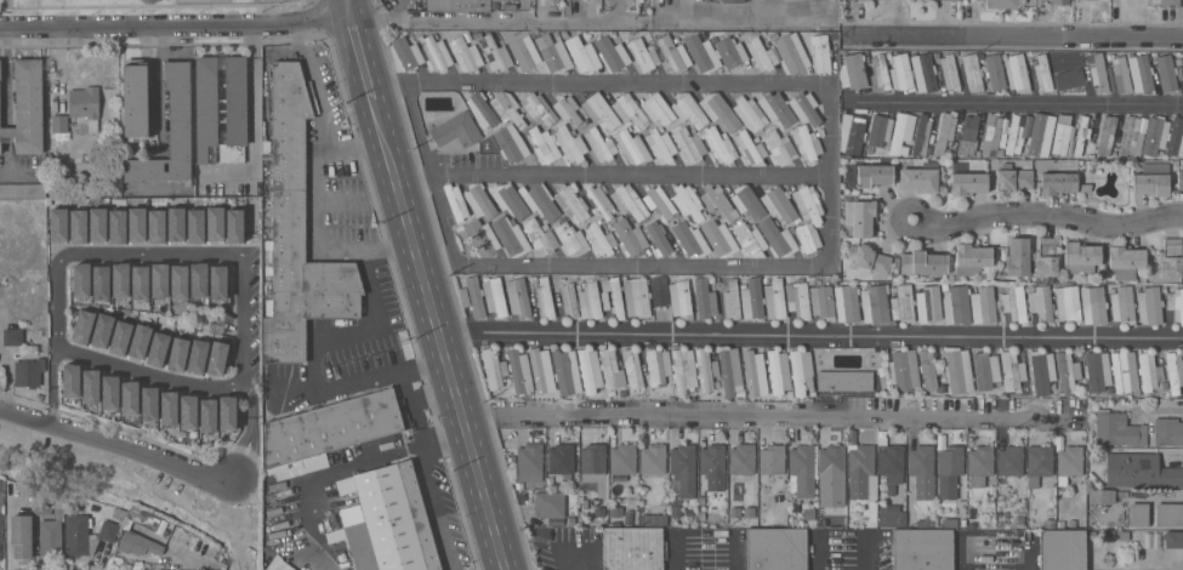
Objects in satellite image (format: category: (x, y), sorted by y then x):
park: (84, 0)
building: (497, 0)
building: (1086, 0)
building: (733, 1)
building: (1059, 2)
building: (1002, 4)
building: (1170, 4)
building: (457, 5)
road: (343, 6)
road: (397, 13)
road: (1014, 36)
road: (356, 49)
building: (791, 52)
building: (820, 52)
building: (437, 53)
building: (495, 53)
building: (525, 53)
building: (553, 53)
building: (612, 53)
building: (672, 53)
building: (732, 53)
building: (404, 55)
building: (465, 55)
building: (584, 55)
building: (643, 55)
building: (703, 55)
building: (761, 55)
building: (1182, 68)
building: (994, 70)
building: (853, 72)
building: (900, 72)
building: (923, 72)
building: (949, 72)
building: (1041, 72)
building: (881, 73)
building: (972, 73)
building: (1016, 73)
building: (1098, 73)
building: (1121, 73)
building: (1139, 73)
building: (1166, 73)
building: (1069, 79)
road: (596, 85)
road: (314, 86)
road: (369, 92)
building: (135, 101)
road: (1018, 102)
building: (84, 103)
building: (25, 108)
building: (510, 108)
building: (538, 108)
building: (569, 108)
building: (777, 108)
building: (804, 108)
building: (220, 109)
building: (482, 110)
building: (599, 110)
building: (630, 110)
building: (661, 110)
building: (689, 110)
building: (718, 110)
building: (749, 113)
road: (377, 120)
road: (255, 122)
building: (59, 127)
building: (456, 130)
building: (878, 131)
building: (170, 132)
building: (945, 132)
building: (852, 133)
building: (900, 133)
building: (993, 133)
building: (1062, 133)
building: (922, 135)
building: (1040, 135)
building: (1081, 135)
building: (1155, 135)
building: (969, 136)
building: (1014, 136)
building: (1105, 136)
building: (1131, 137)
building: (1176, 137)
building: (807, 142)
building: (511, 143)
building: (569, 143)
building: (717, 143)
building: (599, 144)
building: (658, 144)
road: (358, 146)
building: (688, 146)
building: (544, 147)
building: (632, 147)
building: (750, 148)
building: (780, 148)
building: (49, 155)
road: (387, 155)
building: (49, 161)
road: (612, 172)
building: (866, 175)
road: (830, 176)
building: (920, 177)
building: (1012, 178)
building: (1151, 178)
building: (1179, 179)
building: (966, 181)
building: (1057, 183)
building: (22, 190)
building: (479, 200)
building: (508, 200)
building: (599, 201)
building: (629, 201)
building: (659, 201)
building: (746, 201)
building: (455, 203)
building: (541, 203)
building: (570, 203)
building: (688, 203)
building: (718, 203)
building: (779, 204)
building: (808, 204)
building: (860, 216)
road: (315, 217)
road: (1048, 217)
building: (136, 223)
building: (176, 223)
building: (214, 223)
building: (57, 224)
building: (97, 224)
building: (234, 224)
building: (78, 226)
building: (118, 226)
building: (157, 226)
building: (195, 226)
building: (296, 234)
building: (511, 236)
building: (540, 236)
building: (629, 236)
building: (480, 238)
building: (718, 238)
building: (778, 238)
building: (807, 238)
building: (571, 239)
building: (599, 239)
building: (656, 239)
building: (690, 239)
building: (750, 239)
road: (66, 256)
building: (1018, 257)
building: (1046, 257)
building: (1080, 257)
building: (1171, 257)
building: (870, 258)
building: (971, 258)
building: (1125, 261)
building: (923, 262)
road: (625, 267)
building: (199, 279)
building: (81, 280)
building: (120, 280)
building: (159, 280)
building: (140, 281)
building: (178, 281)
building: (101, 283)
building: (218, 283)
building: (659, 290)
building: (474, 296)
building: (494, 296)
building: (612, 296)
building: (636, 296)
building: (463, 297)
building: (517, 297)
building: (544, 297)
building: (679, 298)
building: (797, 298)
building: (569, 300)
building: (704, 300)
building: (732, 300)
building: (751, 300)
building: (774, 300)
building: (588, 301)
building: (821, 302)
building: (851, 302)
building: (927, 302)
building: (1041, 302)
building: (874, 303)
building: (902, 303)
building: (1014, 303)
building: (1067, 303)
building: (1121, 303)
building: (1176, 303)
building: (956, 304)
building: (983, 304)
building: (1093, 304)
building: (1149, 306)
road: (241, 319)
building: (83, 325)
building: (102, 330)
road: (812, 335)
building: (12, 337)
building: (120, 337)
road: (320, 338)
building: (140, 341)
building: (158, 349)
building: (177, 353)
building: (198, 355)
building: (216, 358)
building: (658, 366)
building: (493, 367)
building: (610, 369)
building: (751, 369)
building: (928, 369)
road: (451, 370)
building: (539, 370)
building: (588, 370)
building: (632, 370)
building: (682, 370)
building: (705, 370)
building: (904, 370)
building: (957, 370)
building: (985, 370)
building: (1012, 370)
building: (1067, 370)
building: (1097, 370)
building: (519, 371)
building: (729, 371)
building: (778, 371)
building: (801, 371)
building: (1041, 371)
building: (1149, 371)
building: (1175, 371)
building: (28, 372)
building: (565, 372)
building: (1124, 372)
road: (147, 378)
building: (70, 381)
building: (844, 381)
building: (90, 386)
building: (109, 392)
building: (130, 398)
building: (148, 403)
road: (248, 406)
building: (169, 407)
building: (188, 411)
road: (1161, 411)
building: (227, 414)
road: (767, 414)
building: (207, 415)
building: (1116, 427)
building: (330, 428)
building: (1167, 432)
road: (436, 435)
road: (120, 448)
road: (234, 451)
road: (246, 455)
building: (652, 458)
building: (741, 458)
building: (770, 460)
building: (831, 460)
building: (1009, 460)
road: (1176, 461)
building: (529, 462)
building: (561, 462)
building: (624, 462)
building: (889, 462)
building: (1069, 462)
building: (593, 463)
building: (1037, 463)
building: (979, 464)
building: (711, 466)
building: (300, 467)
building: (681, 467)
building: (859, 469)
building: (949, 469)
building: (802, 471)
building: (921, 471)
building: (1139, 471)
road: (312, 480)
building: (1, 488)
building: (1102, 496)
building: (46, 503)
road: (436, 505)
building: (548, 505)
building: (1138, 513)
building: (1168, 514)
building: (624, 515)
building: (891, 515)
building: (652, 517)
building: (797, 518)
building: (144, 519)
building: (988, 519)
building: (386, 520)
building: (76, 532)
building: (0, 535)
building: (21, 536)
building: (1124, 536)
building: (50, 537)
building: (1172, 538)
building: (137, 543)
building: (632, 548)
building: (777, 548)
building: (922, 549)
building: (1062, 549)
building: (277, 564)
road: (1160, 566)

